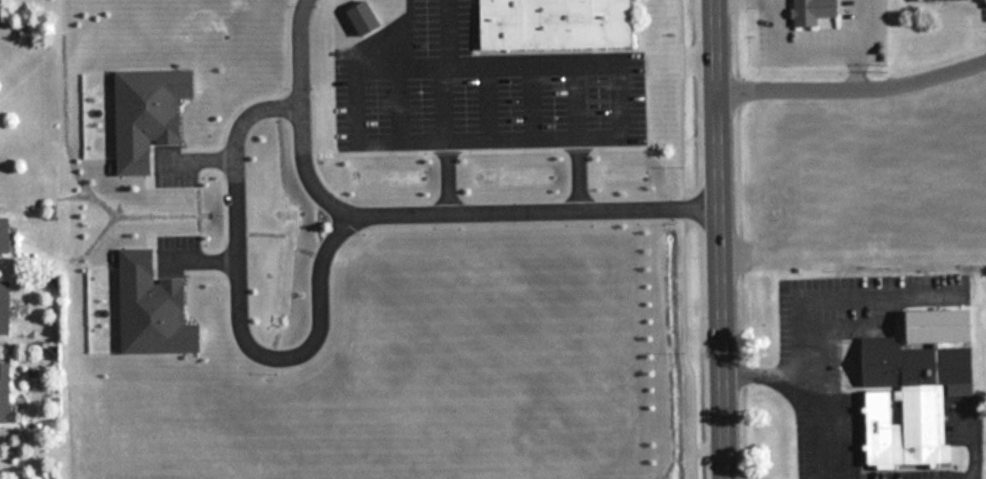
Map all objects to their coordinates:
building: (815, 11)
building: (557, 24)
road: (542, 62)
road: (852, 81)
road: (420, 204)
building: (7, 235)
road: (718, 239)
road: (240, 296)
building: (5, 307)
road: (800, 308)
road: (761, 364)
building: (918, 385)
building: (7, 394)
road: (967, 437)

